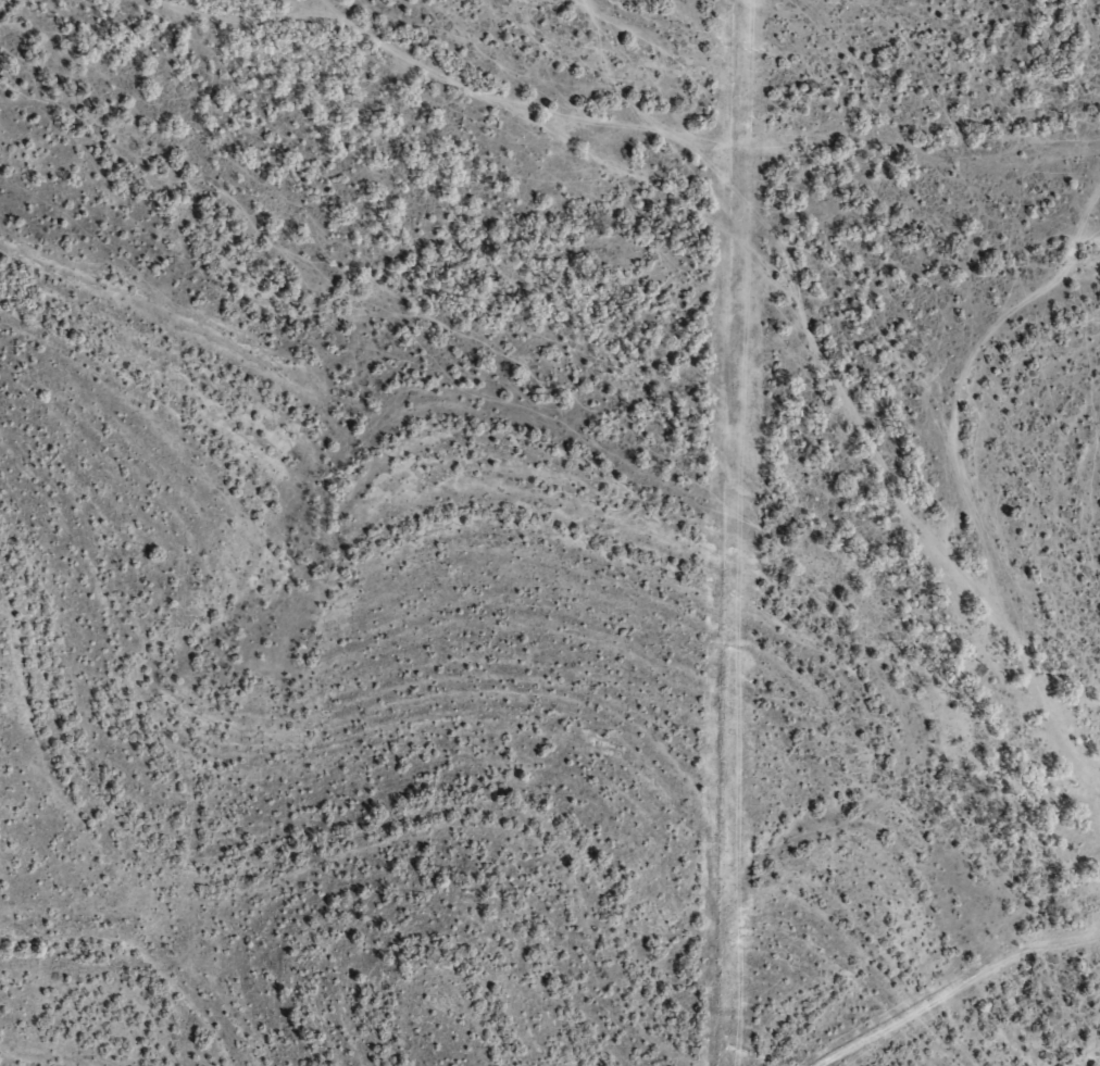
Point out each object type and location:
road: (861, 967)

